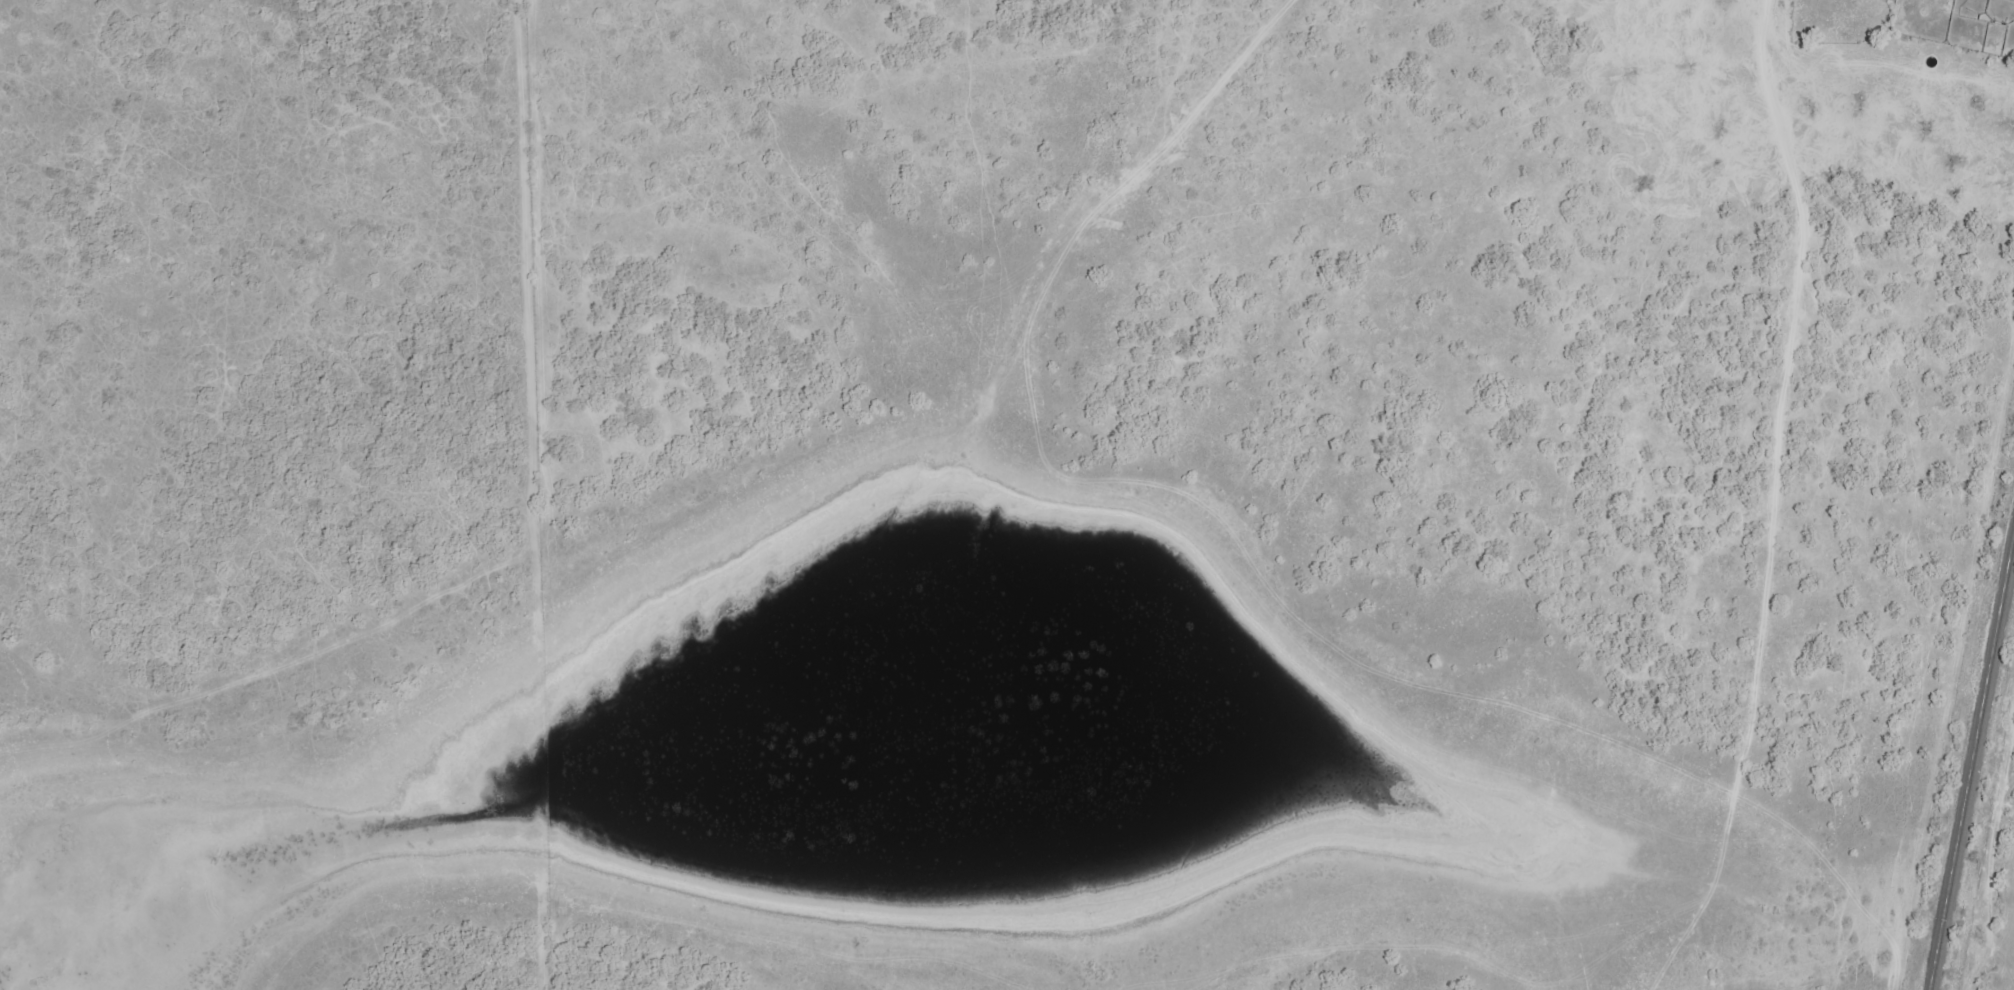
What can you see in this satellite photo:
road: (1778, 492)
railway: (1971, 763)

